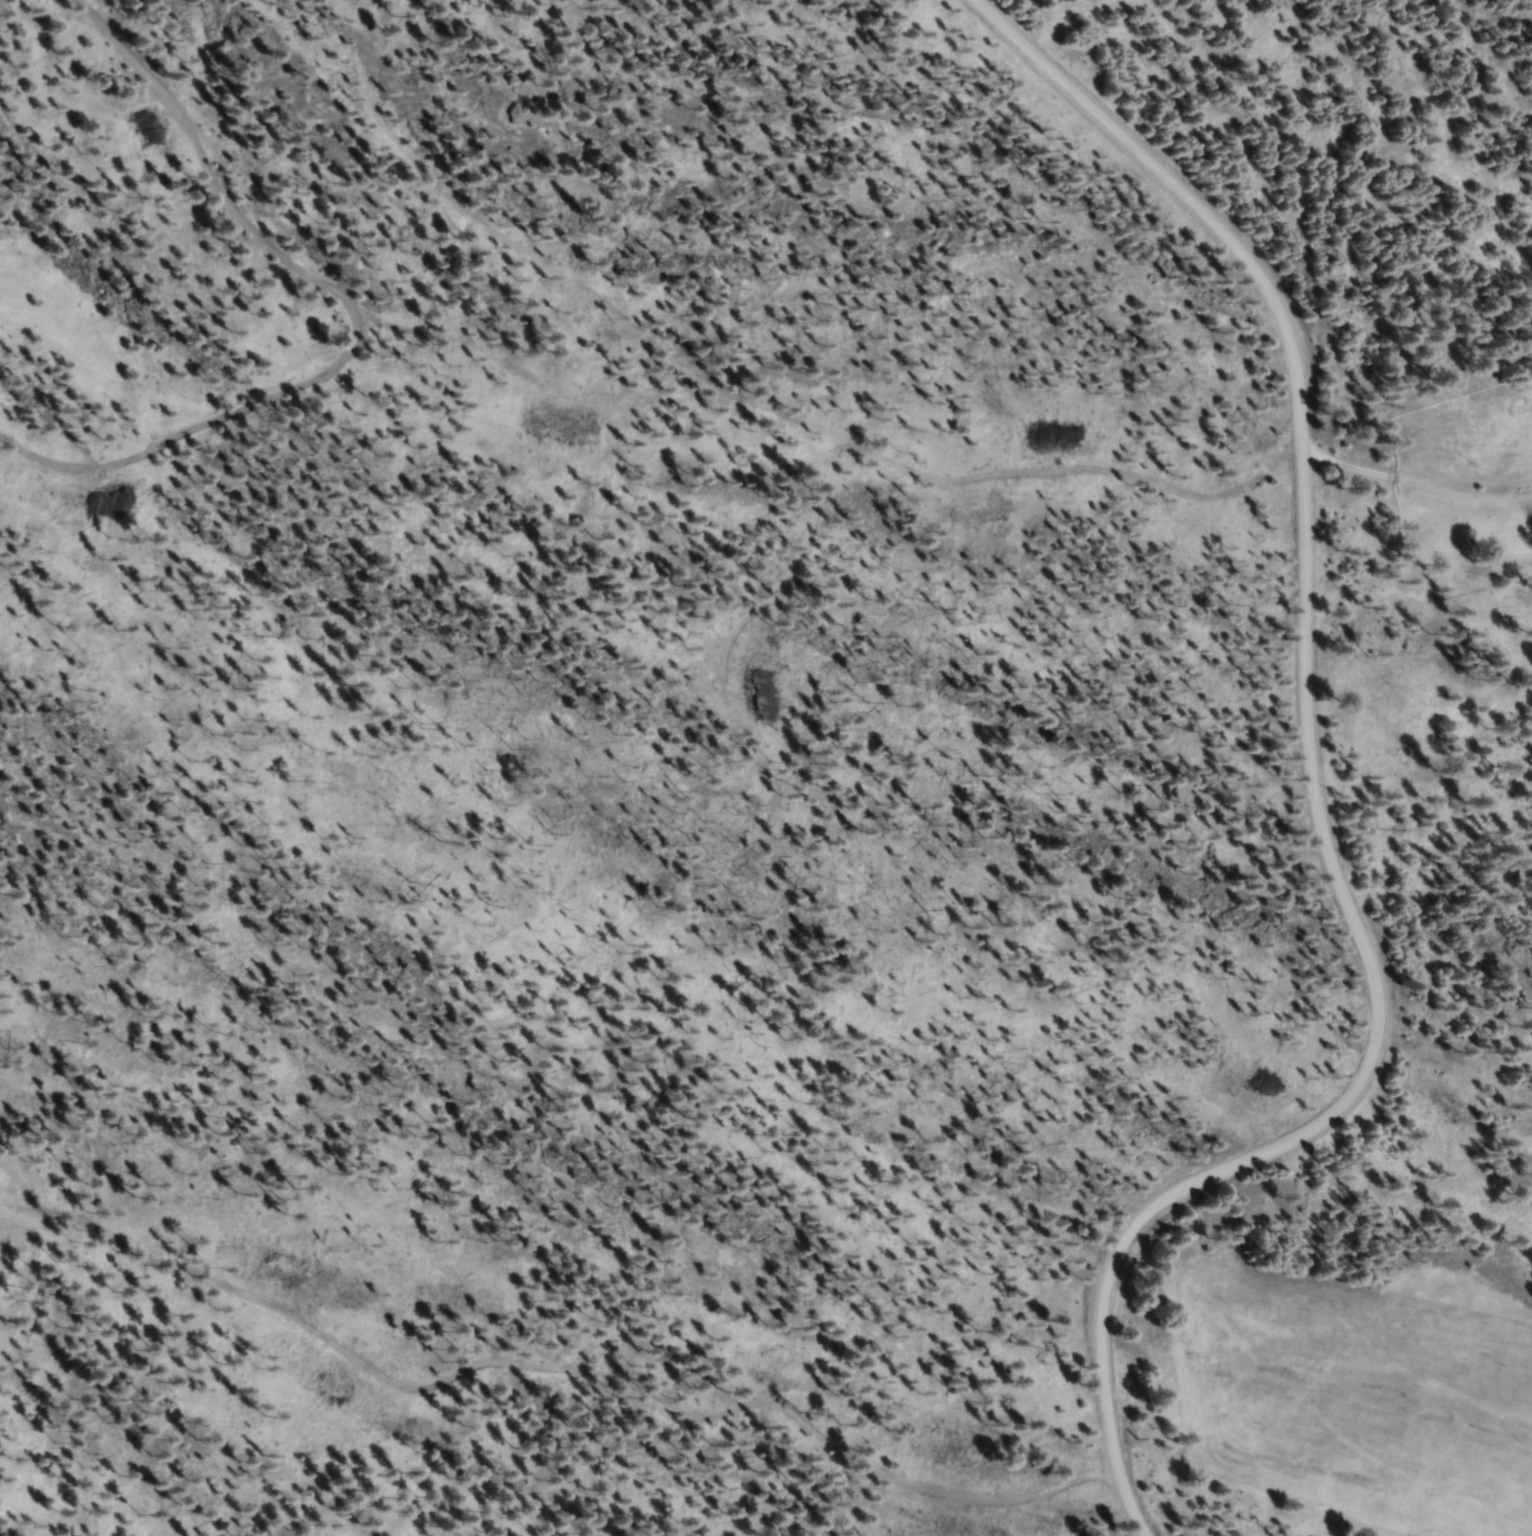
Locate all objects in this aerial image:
road: (1309, 783)

